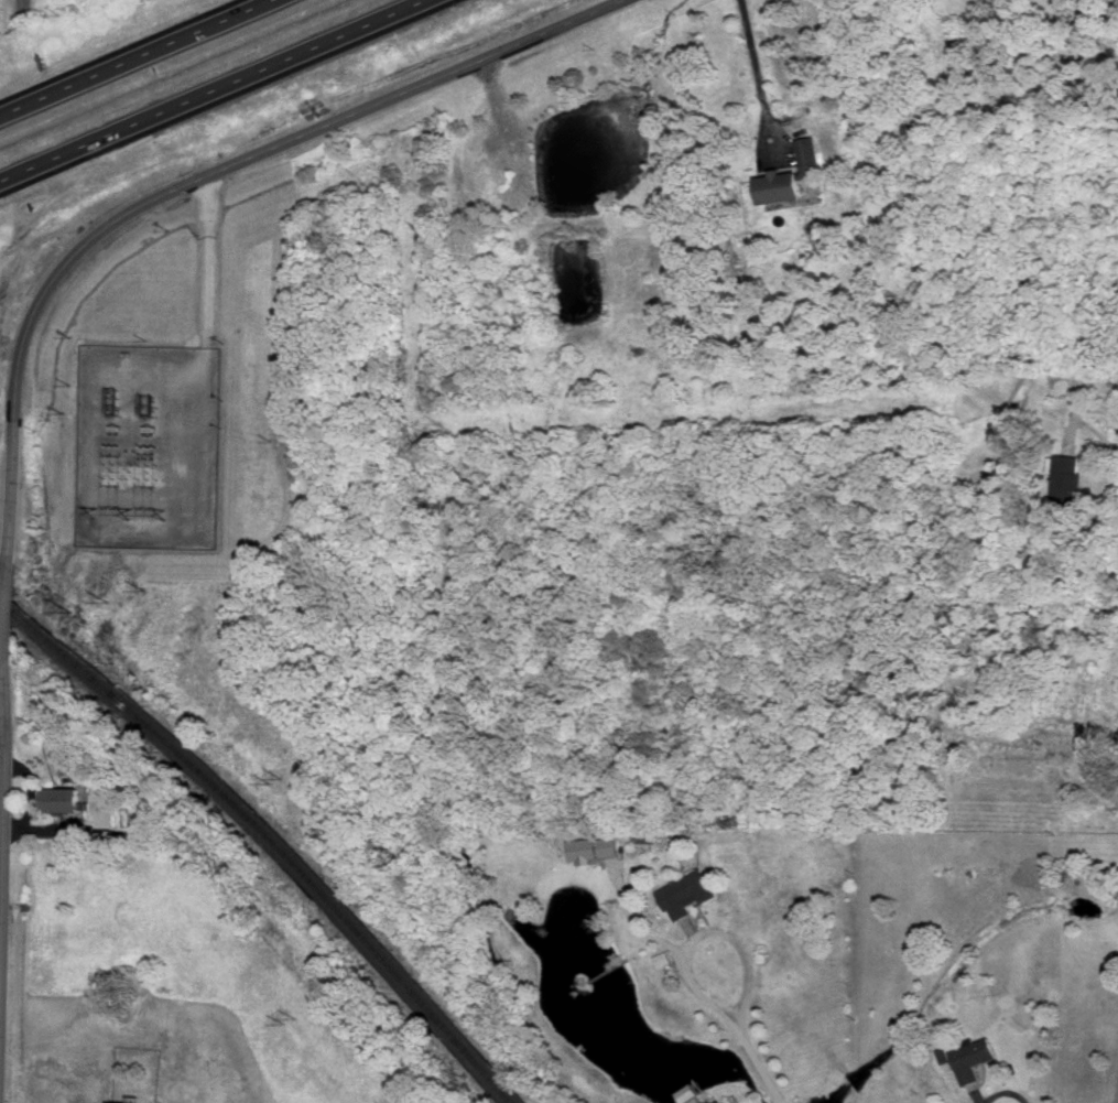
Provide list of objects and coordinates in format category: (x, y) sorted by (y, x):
road: (23, 10)
road: (132, 56)
road: (758, 83)
road: (214, 90)
road: (287, 142)
building: (807, 150)
building: (783, 184)
road: (207, 352)
power substation: (146, 446)
road: (13, 458)
building: (1068, 475)
road: (1100, 494)
road: (9, 607)
building: (63, 798)
road: (3, 830)
railway: (269, 839)
building: (594, 847)
building: (688, 891)
road: (1, 908)
road: (730, 934)
building: (974, 1057)
road: (757, 1067)
road: (1117, 1099)
building: (118, 1102)

